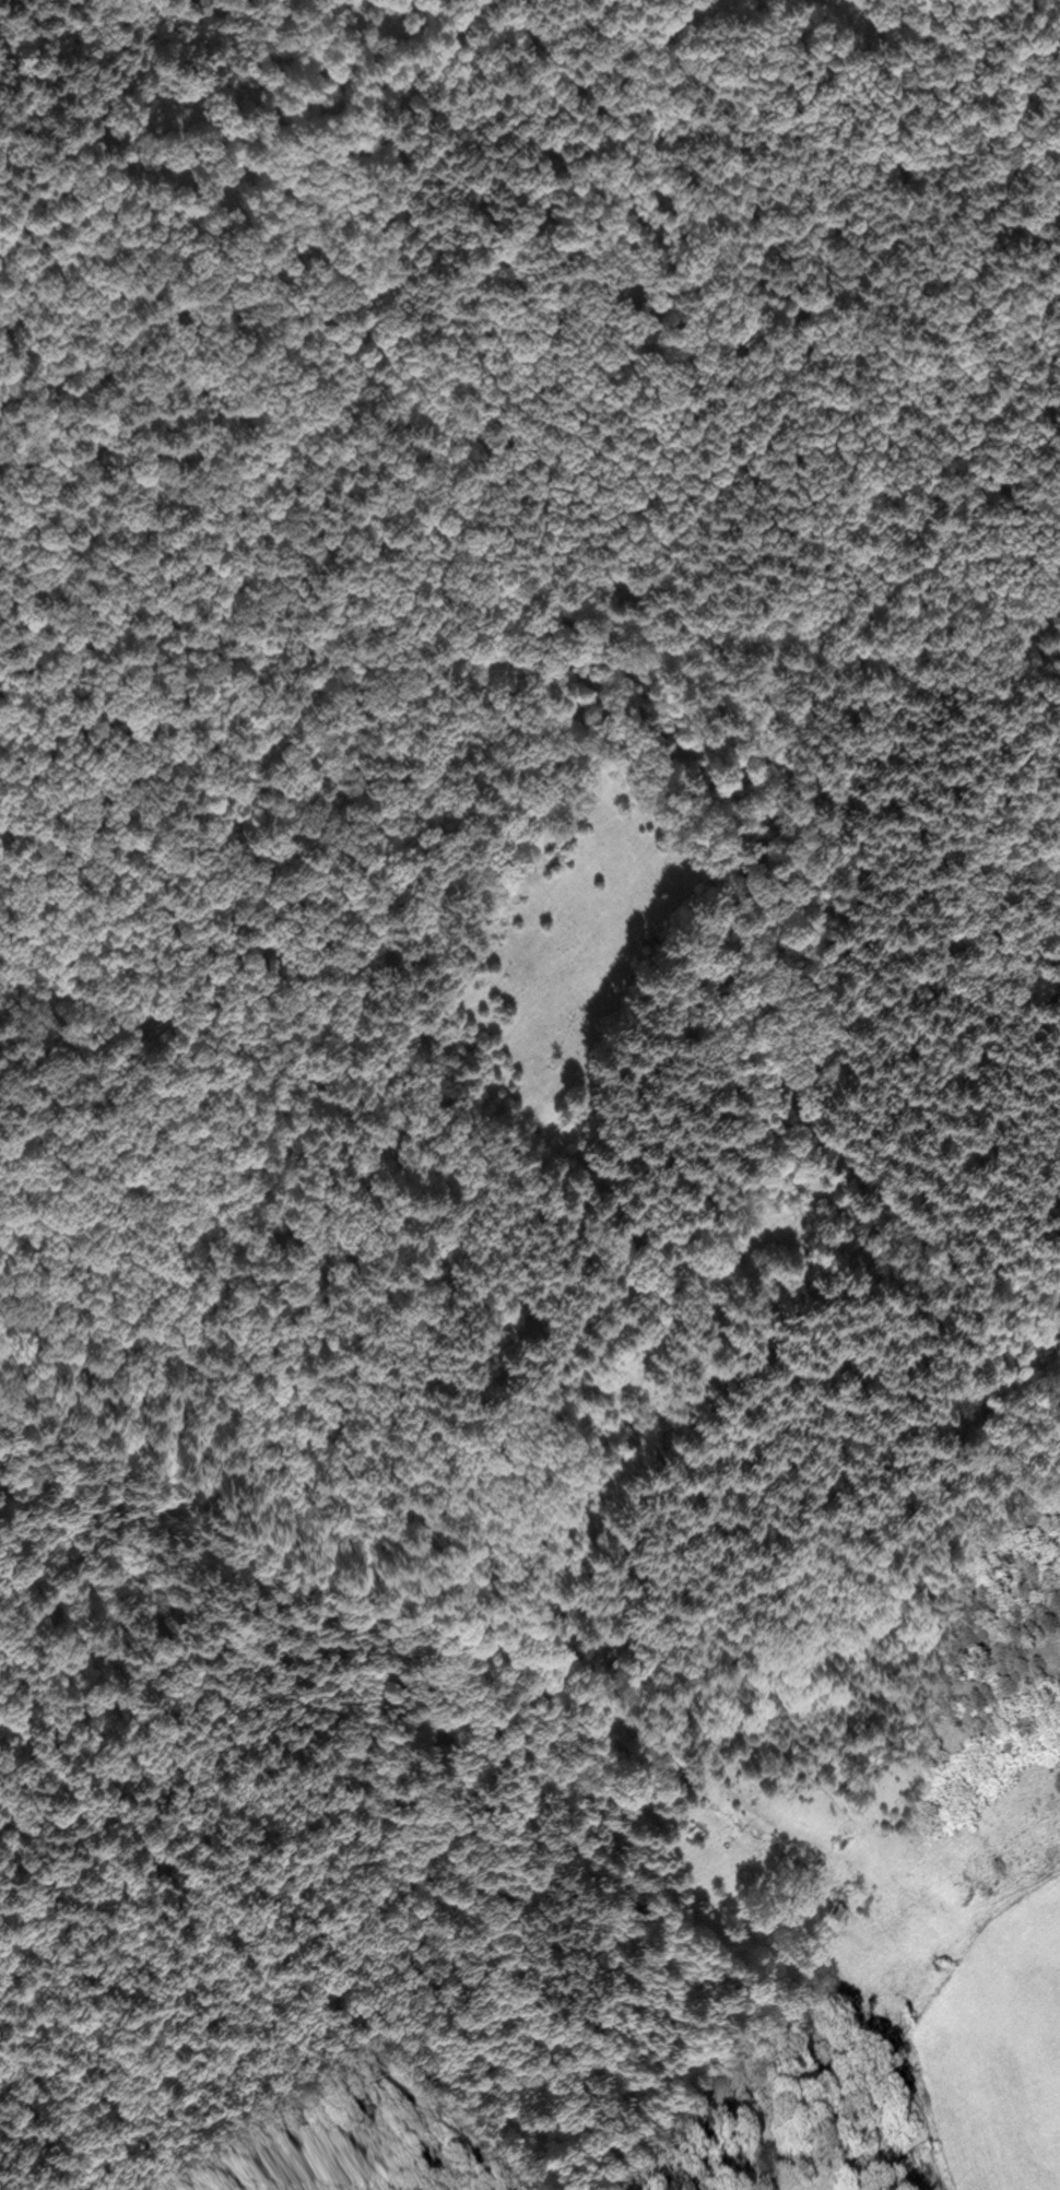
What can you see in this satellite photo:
building: (839, 1910)
building: (908, 1986)

